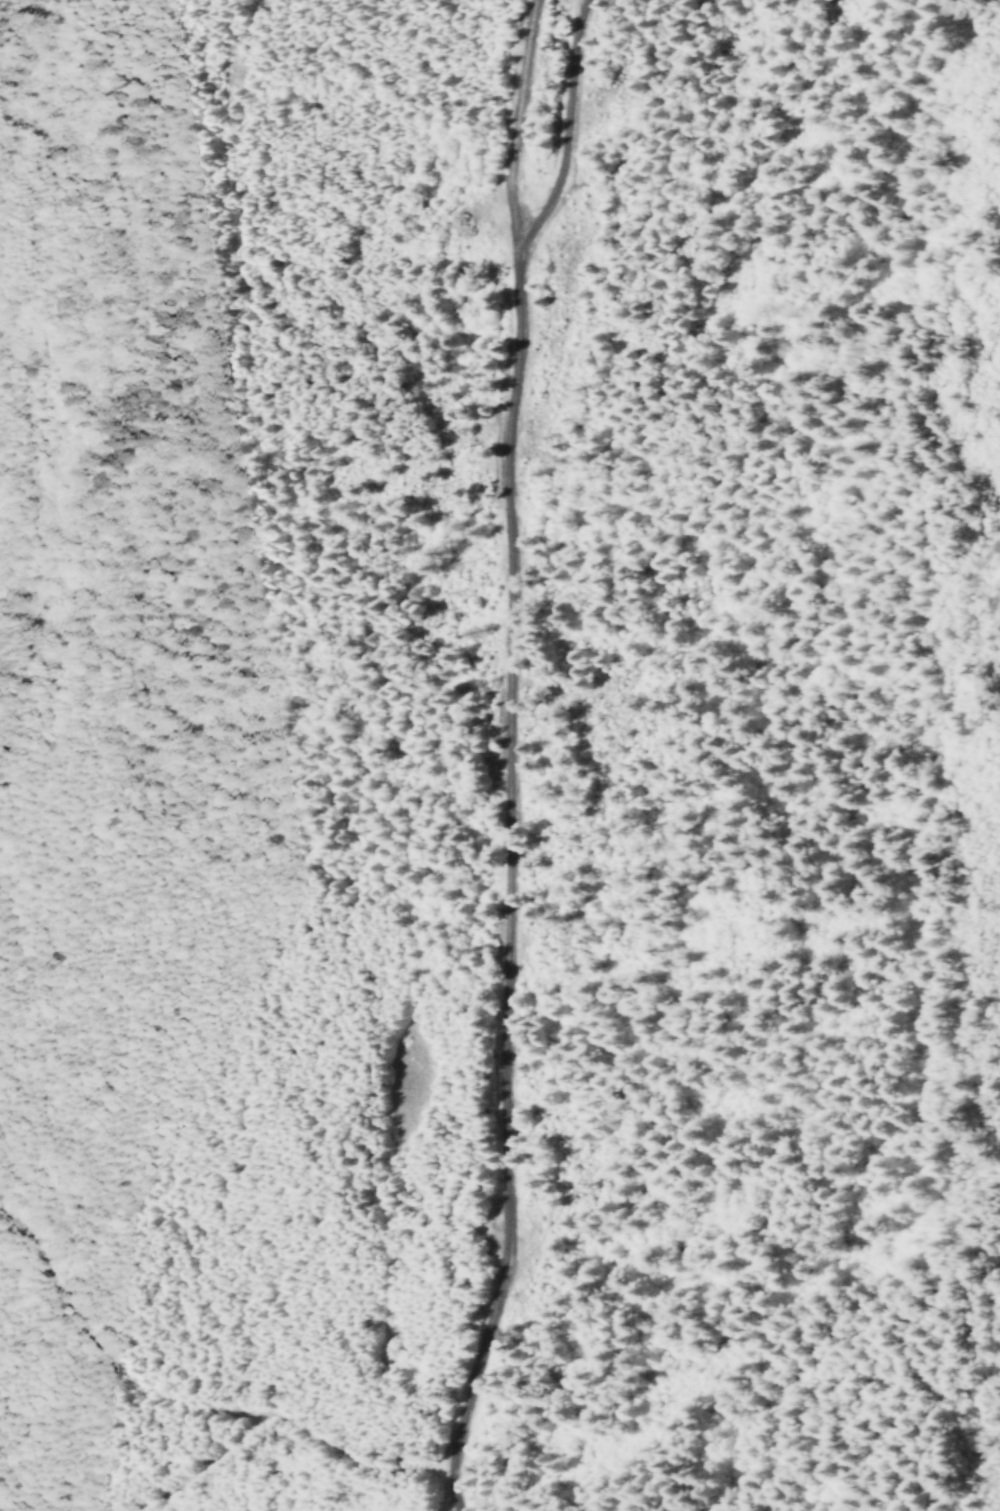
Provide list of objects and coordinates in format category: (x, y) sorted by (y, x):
road: (506, 758)
road: (185, 1407)
road: (219, 1473)

